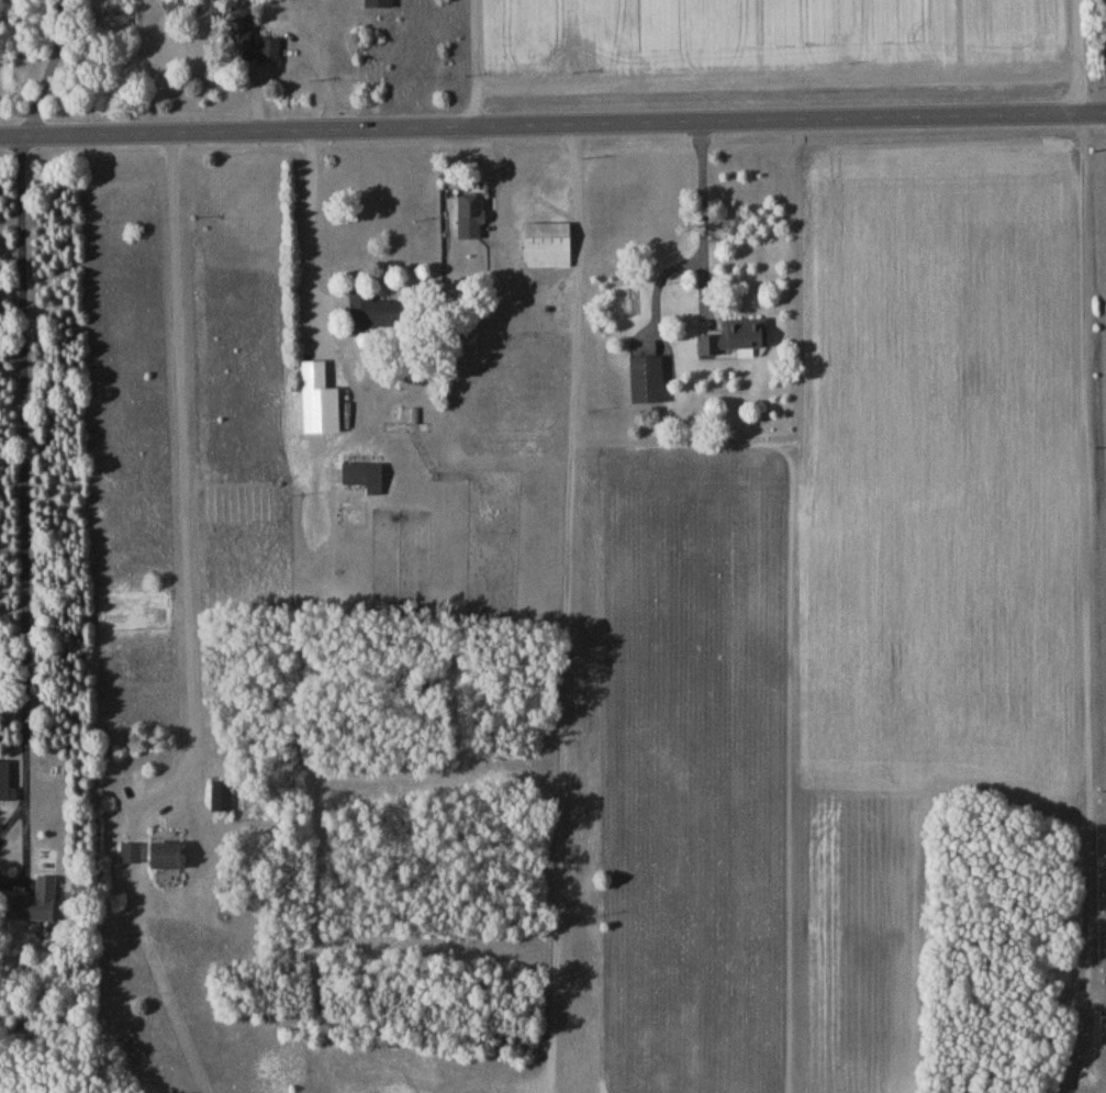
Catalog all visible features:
building: (380, 5)
building: (252, 43)
road: (1079, 56)
road: (474, 64)
road: (52, 67)
road: (552, 125)
road: (311, 212)
road: (702, 214)
building: (473, 216)
building: (549, 248)
building: (381, 315)
building: (737, 342)
building: (316, 379)
building: (649, 384)
road: (26, 467)
building: (358, 478)
road: (182, 487)
building: (222, 801)
road: (14, 817)
road: (29, 851)
building: (132, 858)
building: (170, 860)
building: (34, 906)

